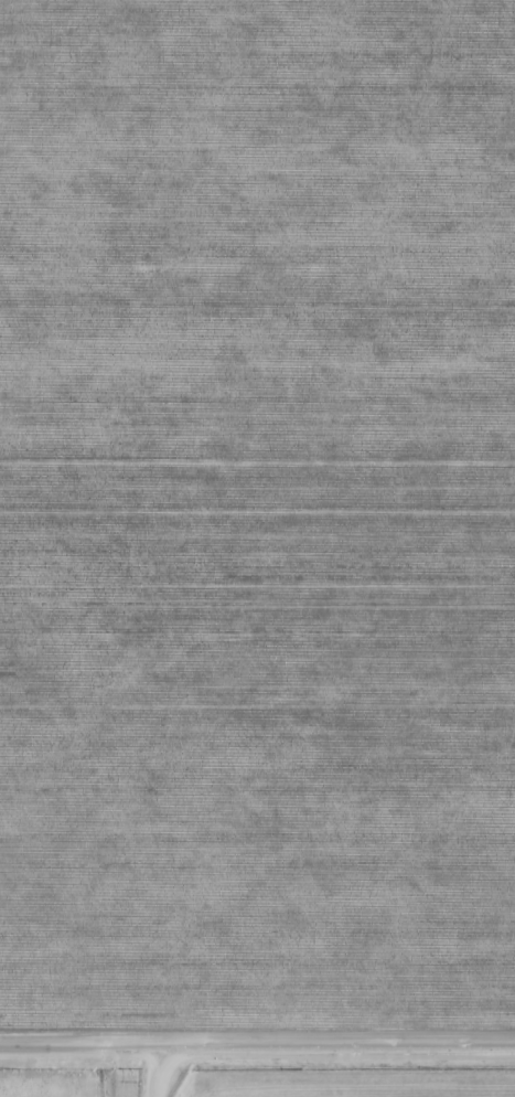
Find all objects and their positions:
road: (257, 1053)

